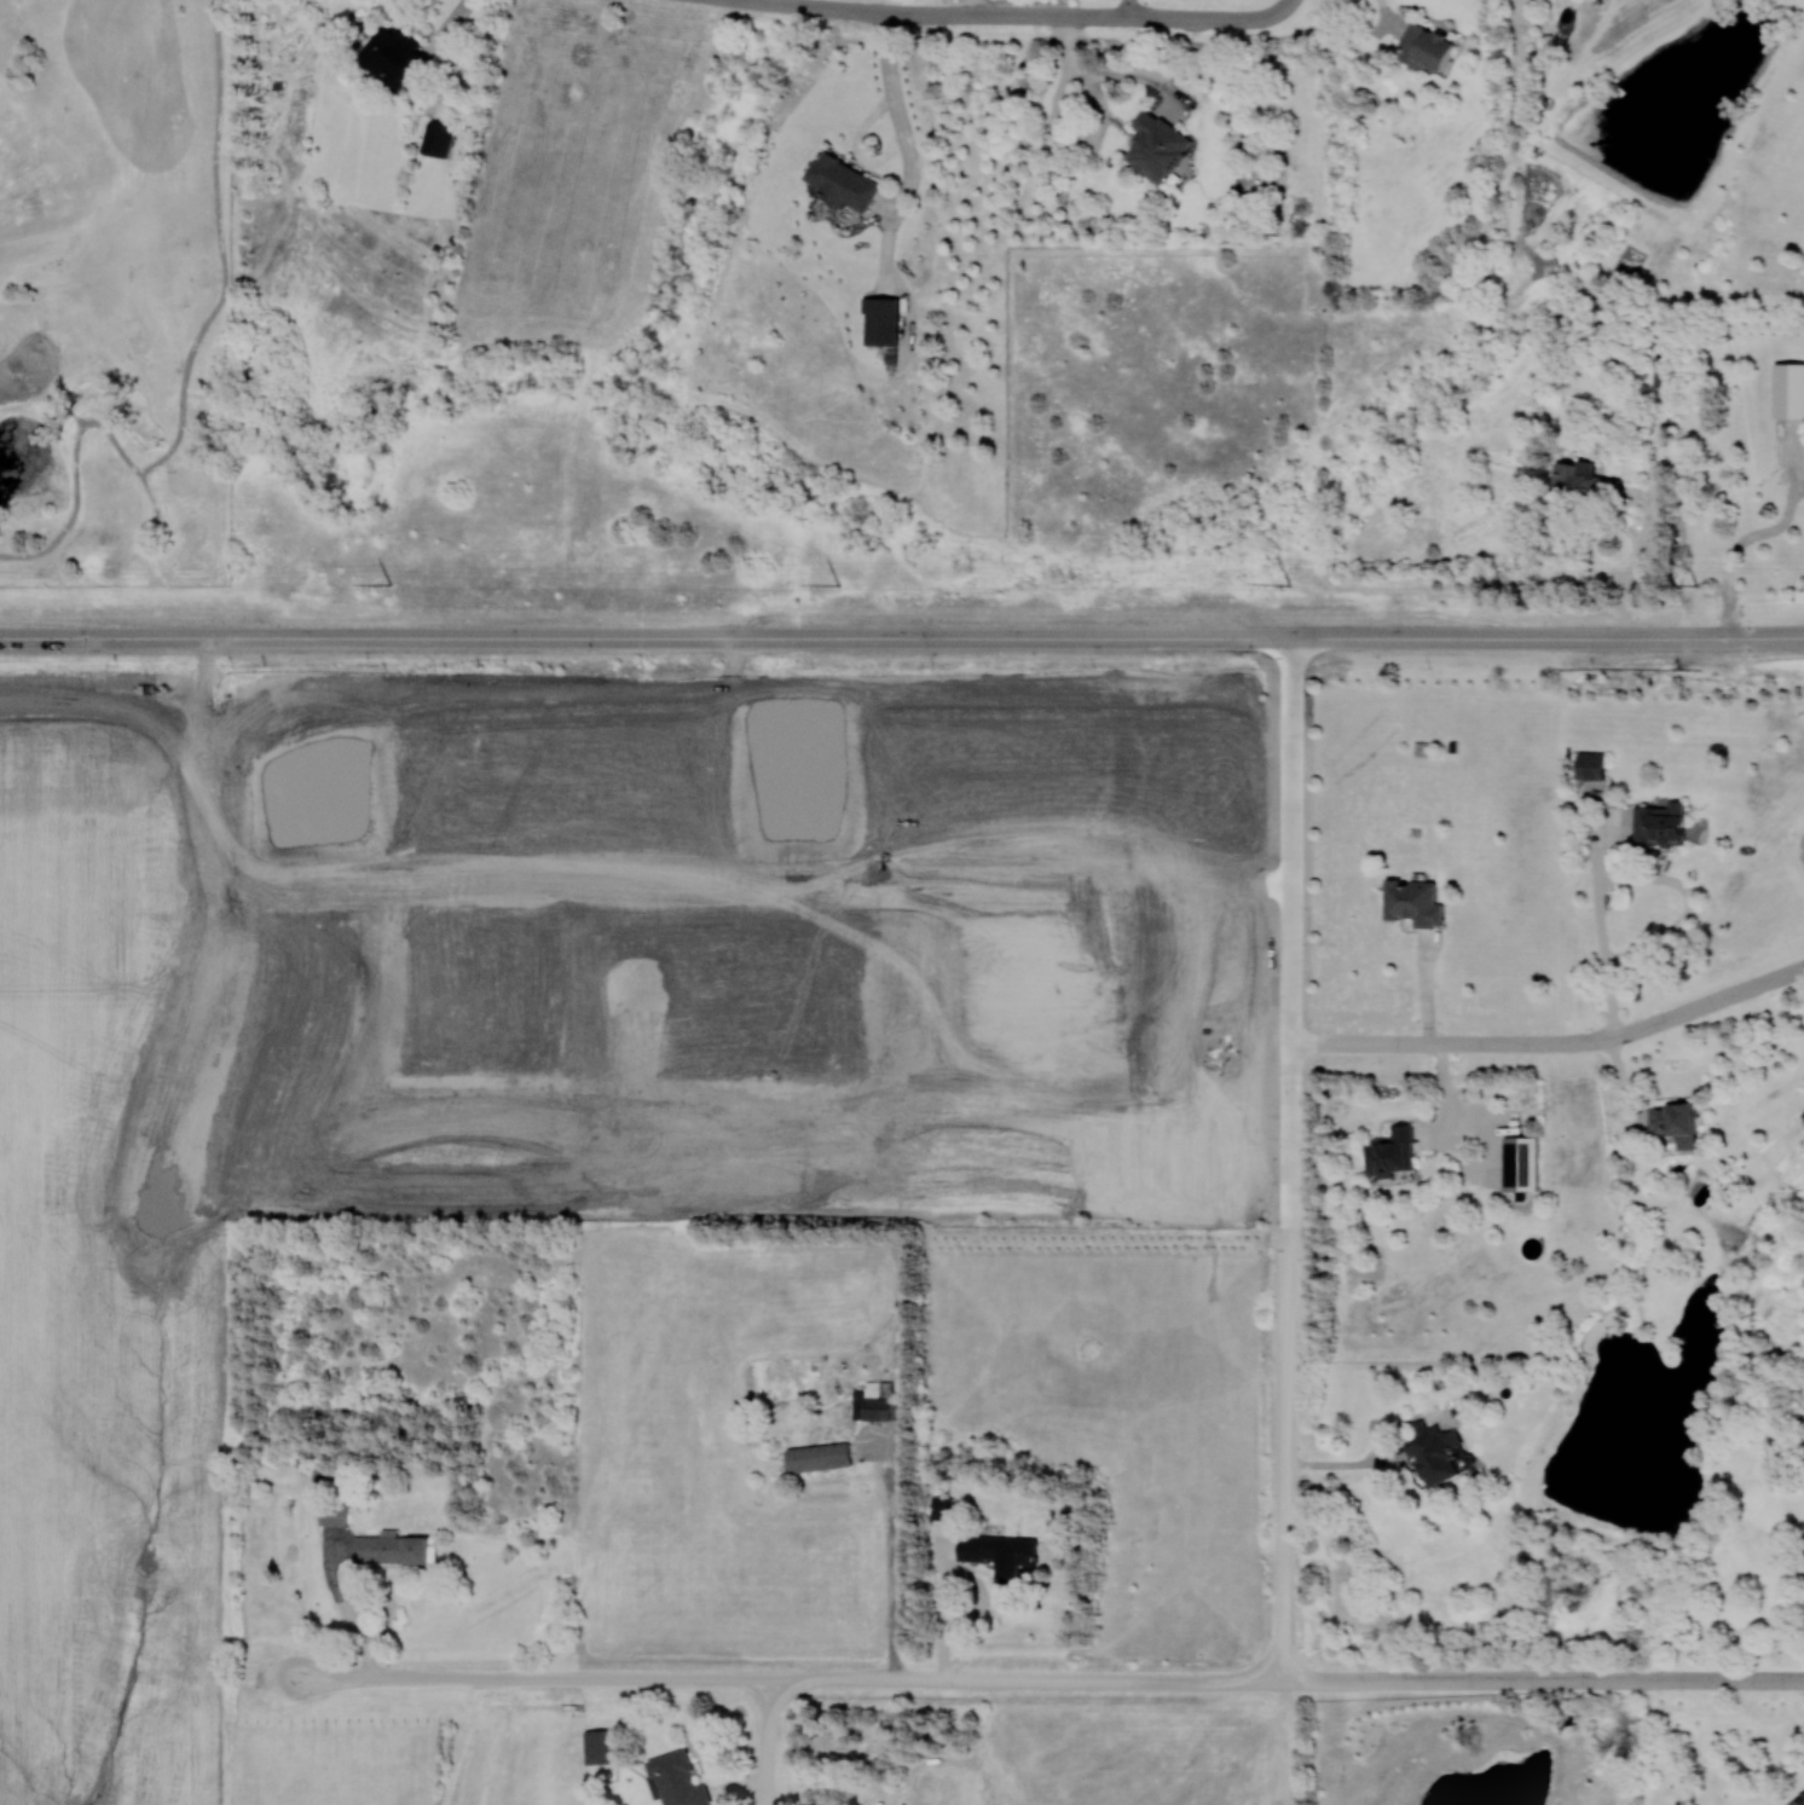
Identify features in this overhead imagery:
road: (975, 7)
road: (1121, 8)
road: (1387, 15)
road: (1014, 16)
building: (1424, 47)
building: (394, 56)
road: (898, 137)
building: (438, 138)
building: (1156, 145)
building: (843, 183)
building: (881, 319)
building: (1788, 389)
building: (1583, 481)
road: (1634, 559)
power tower: (388, 583)
power tower: (1288, 583)
power tower: (837, 584)
power tower: (1695, 584)
road: (1285, 693)
building: (1591, 765)
building: (1659, 825)
road: (1623, 875)
building: (1412, 902)
road: (1286, 961)
road: (1551, 1043)
road: (1455, 1093)
building: (1803, 1115)
building: (1675, 1122)
building: (1390, 1152)
building: (1521, 1163)
building: (874, 1401)
road: (1284, 1450)
building: (1435, 1450)
building: (819, 1457)
road: (1351, 1464)
building: (941, 1508)
building: (333, 1515)
building: (391, 1547)
road: (891, 1552)
building: (1000, 1554)
road: (939, 1599)
road: (983, 1599)
road: (786, 1679)
road: (1543, 1679)
road: (767, 1742)
building: (600, 1746)
building: (678, 1780)
building: (1798, 1800)

